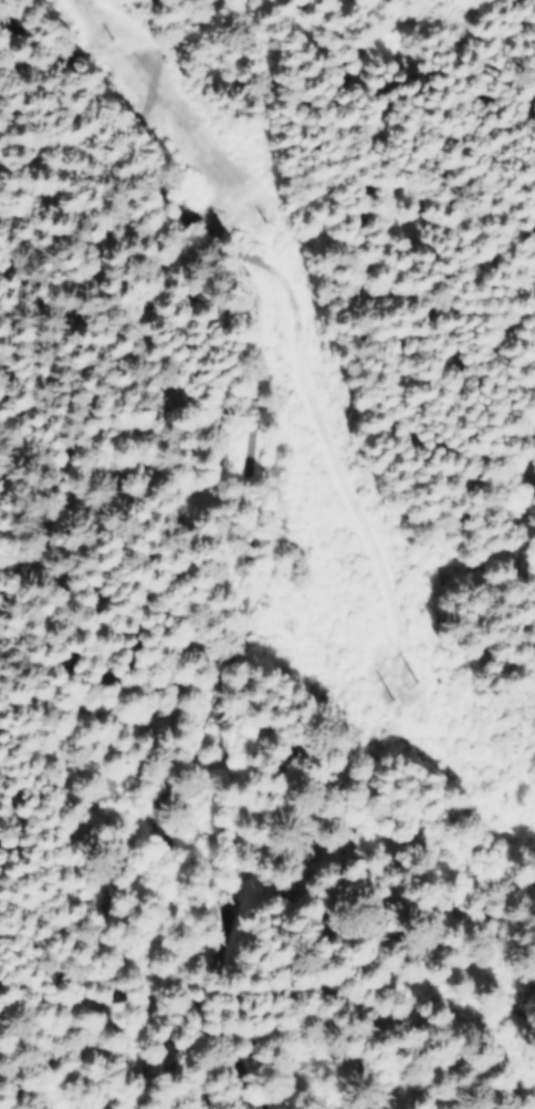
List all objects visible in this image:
power tower: (106, 32)
power tower: (261, 210)
road: (72, 292)
road: (240, 541)
park: (134, 547)
power tower: (403, 678)

